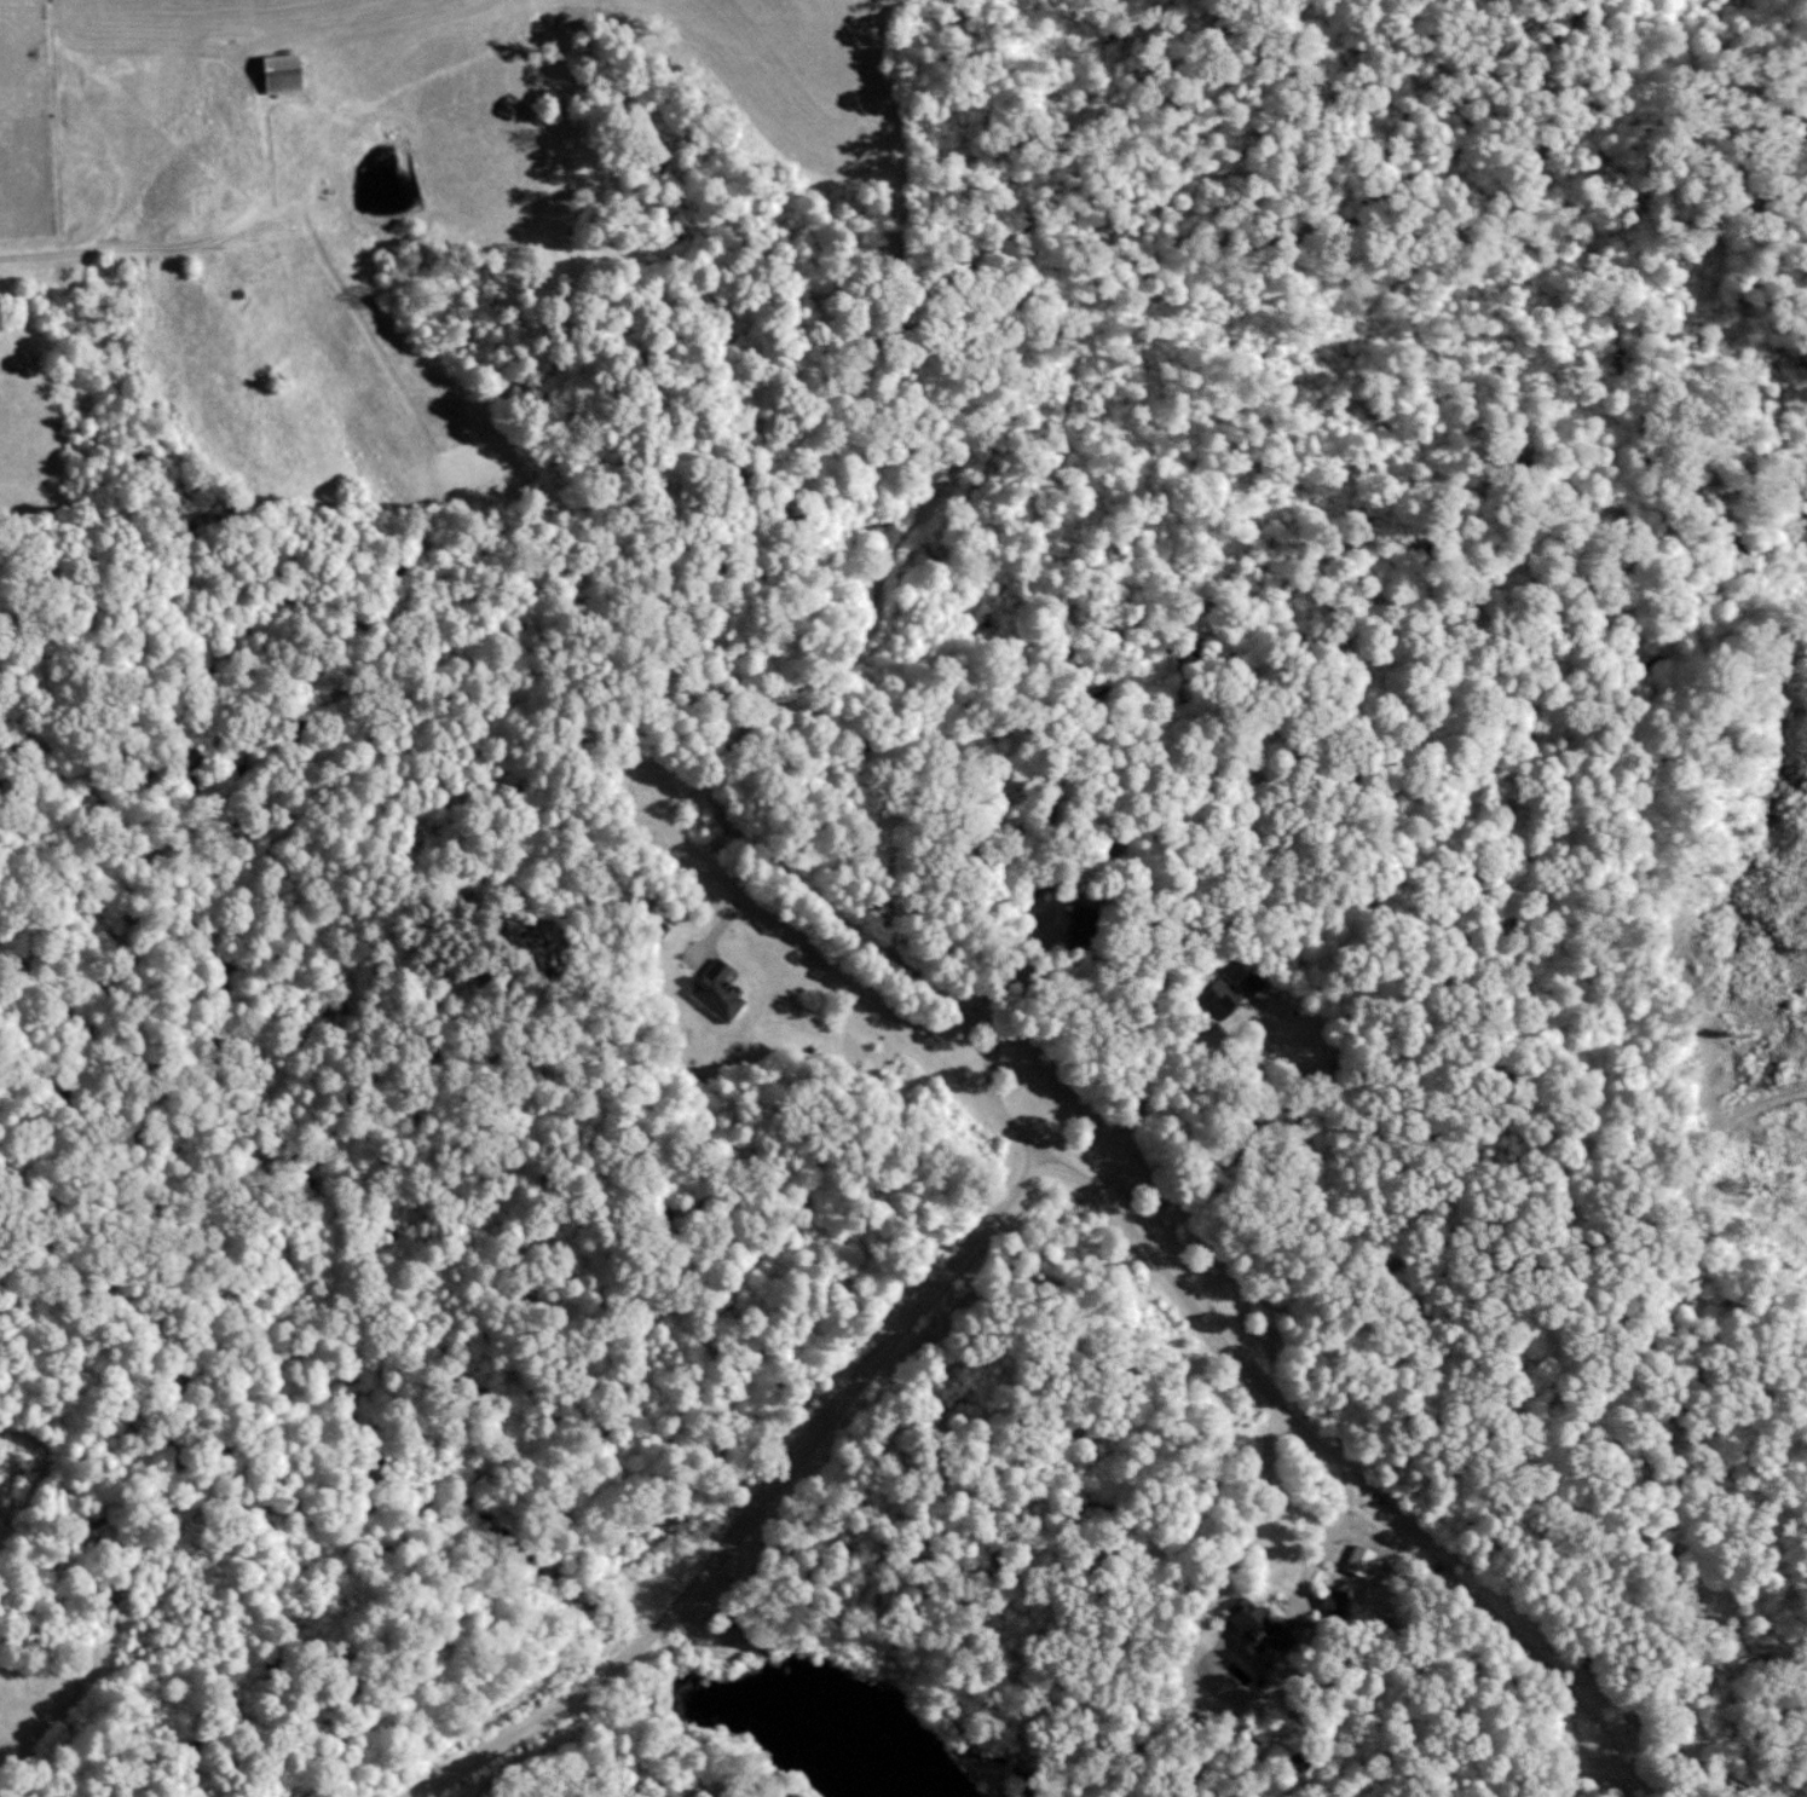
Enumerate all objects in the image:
building: (276, 71)
road: (144, 248)
building: (712, 992)
building: (1223, 994)
road: (983, 1006)
road: (1144, 1069)
road: (1138, 1236)
road: (839, 1397)
road: (1326, 1535)
building: (1355, 1560)
building: (1329, 1599)
building: (1253, 1626)
road: (526, 1724)

